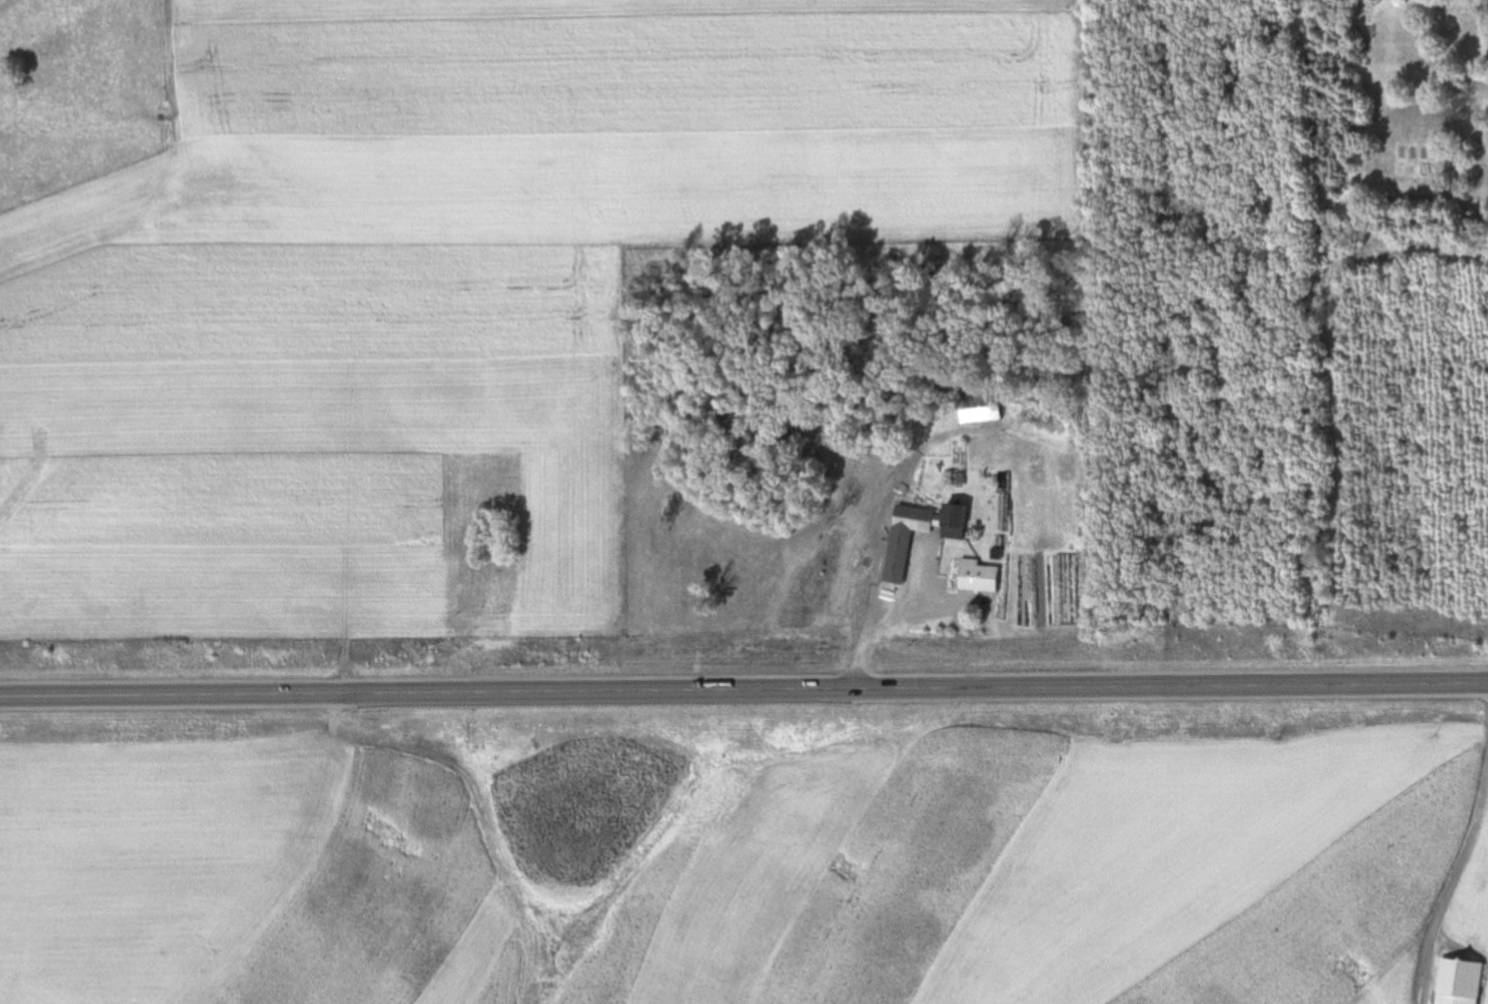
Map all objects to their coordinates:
building: (952, 521)
building: (909, 555)
building: (978, 576)
road: (877, 629)
road: (743, 690)
building: (1458, 981)

